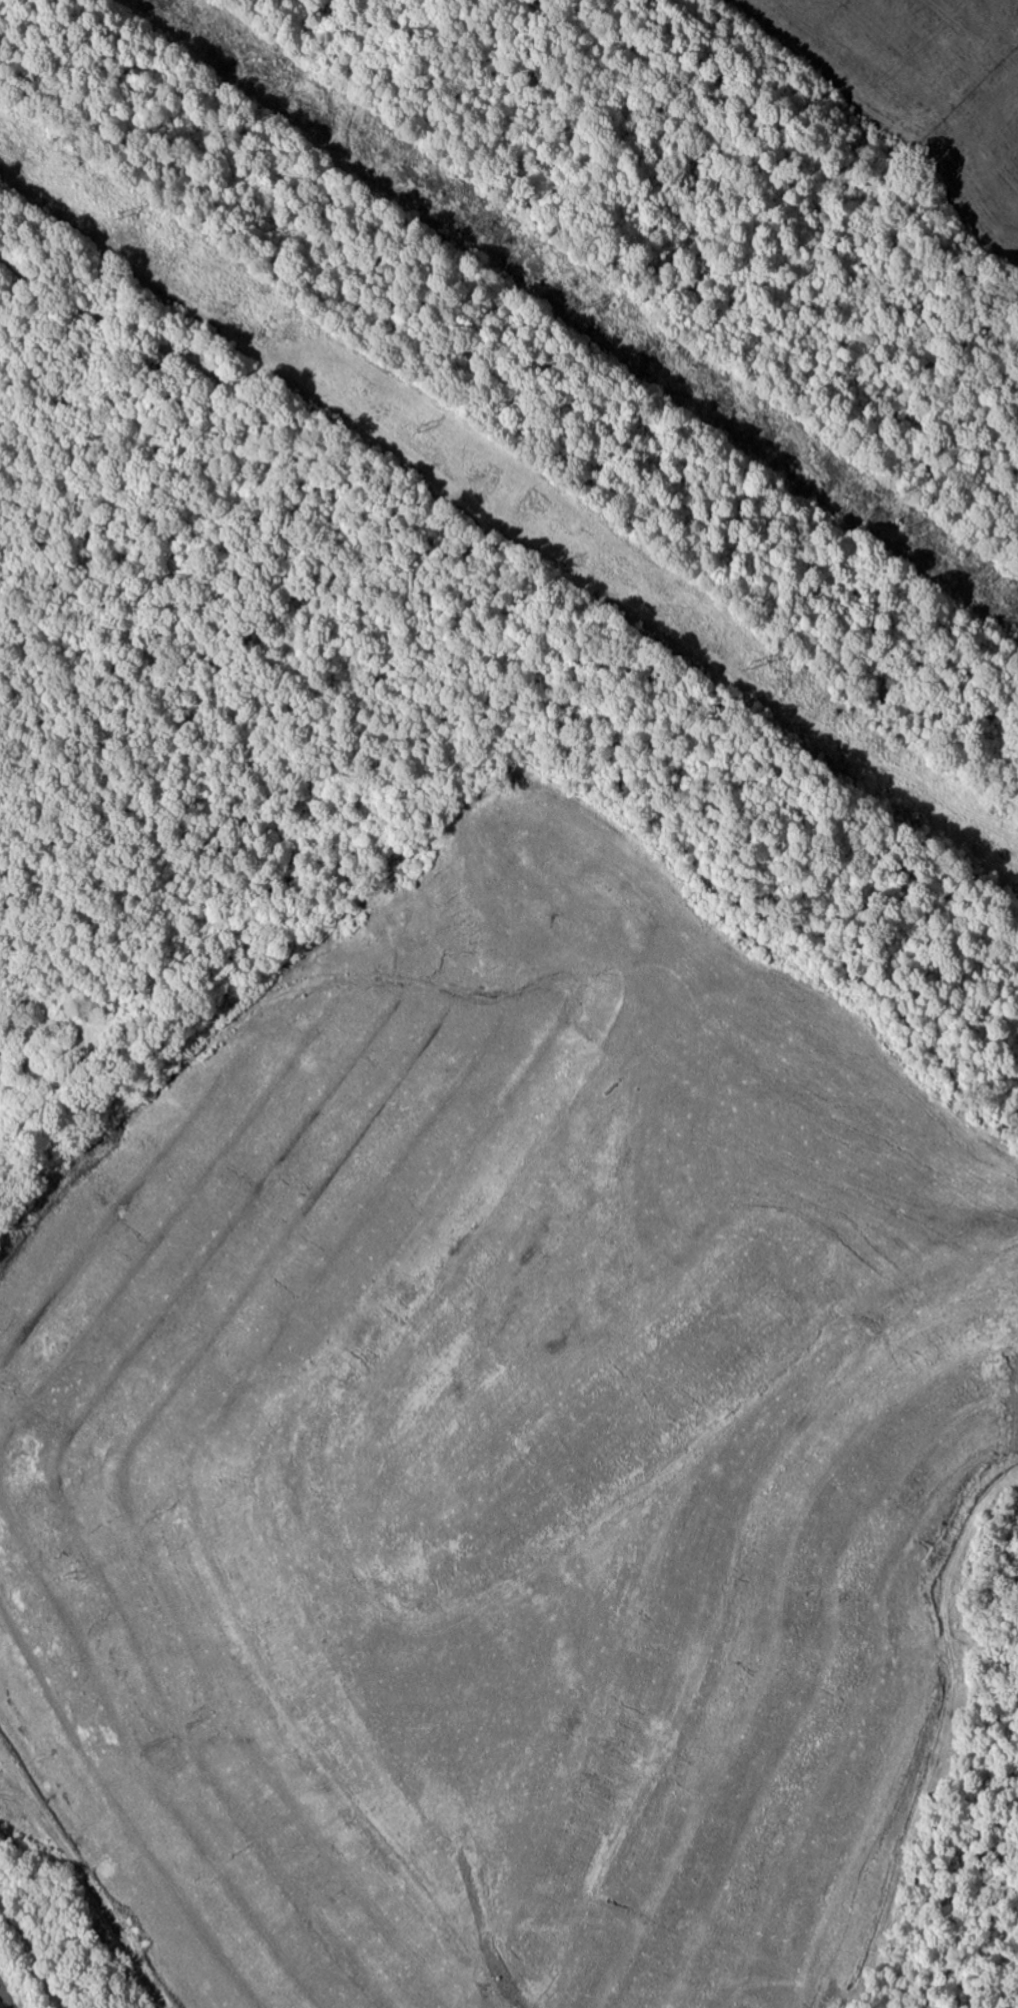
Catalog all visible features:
quarry: (505, 1452)
road: (5, 1998)

